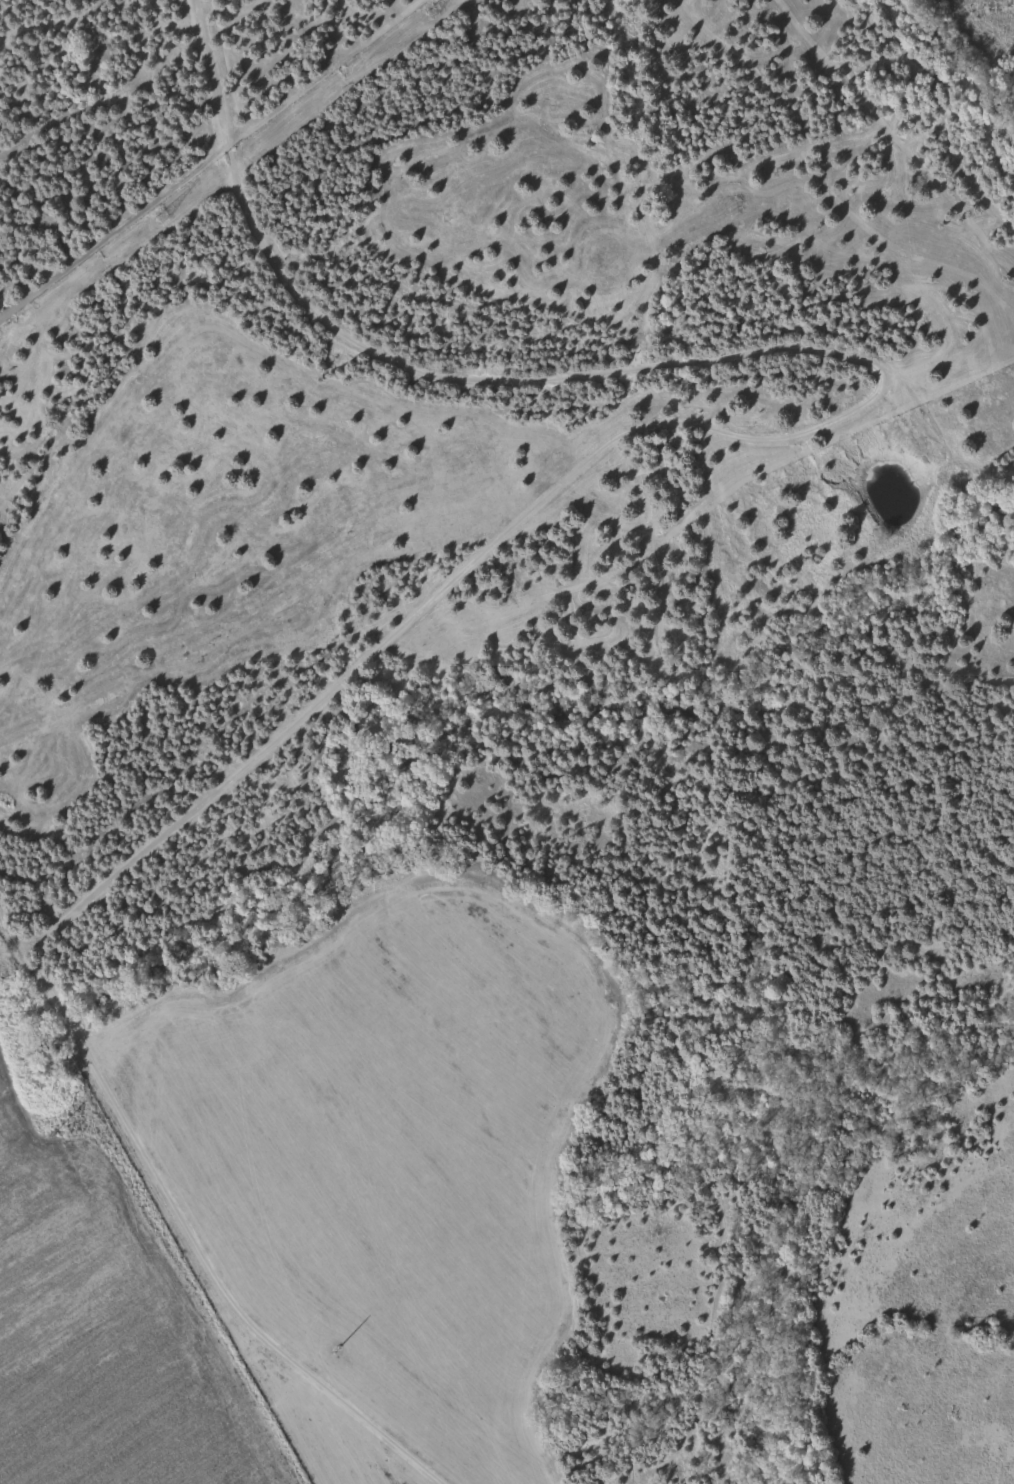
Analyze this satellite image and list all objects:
road: (533, 509)
road: (18, 943)

